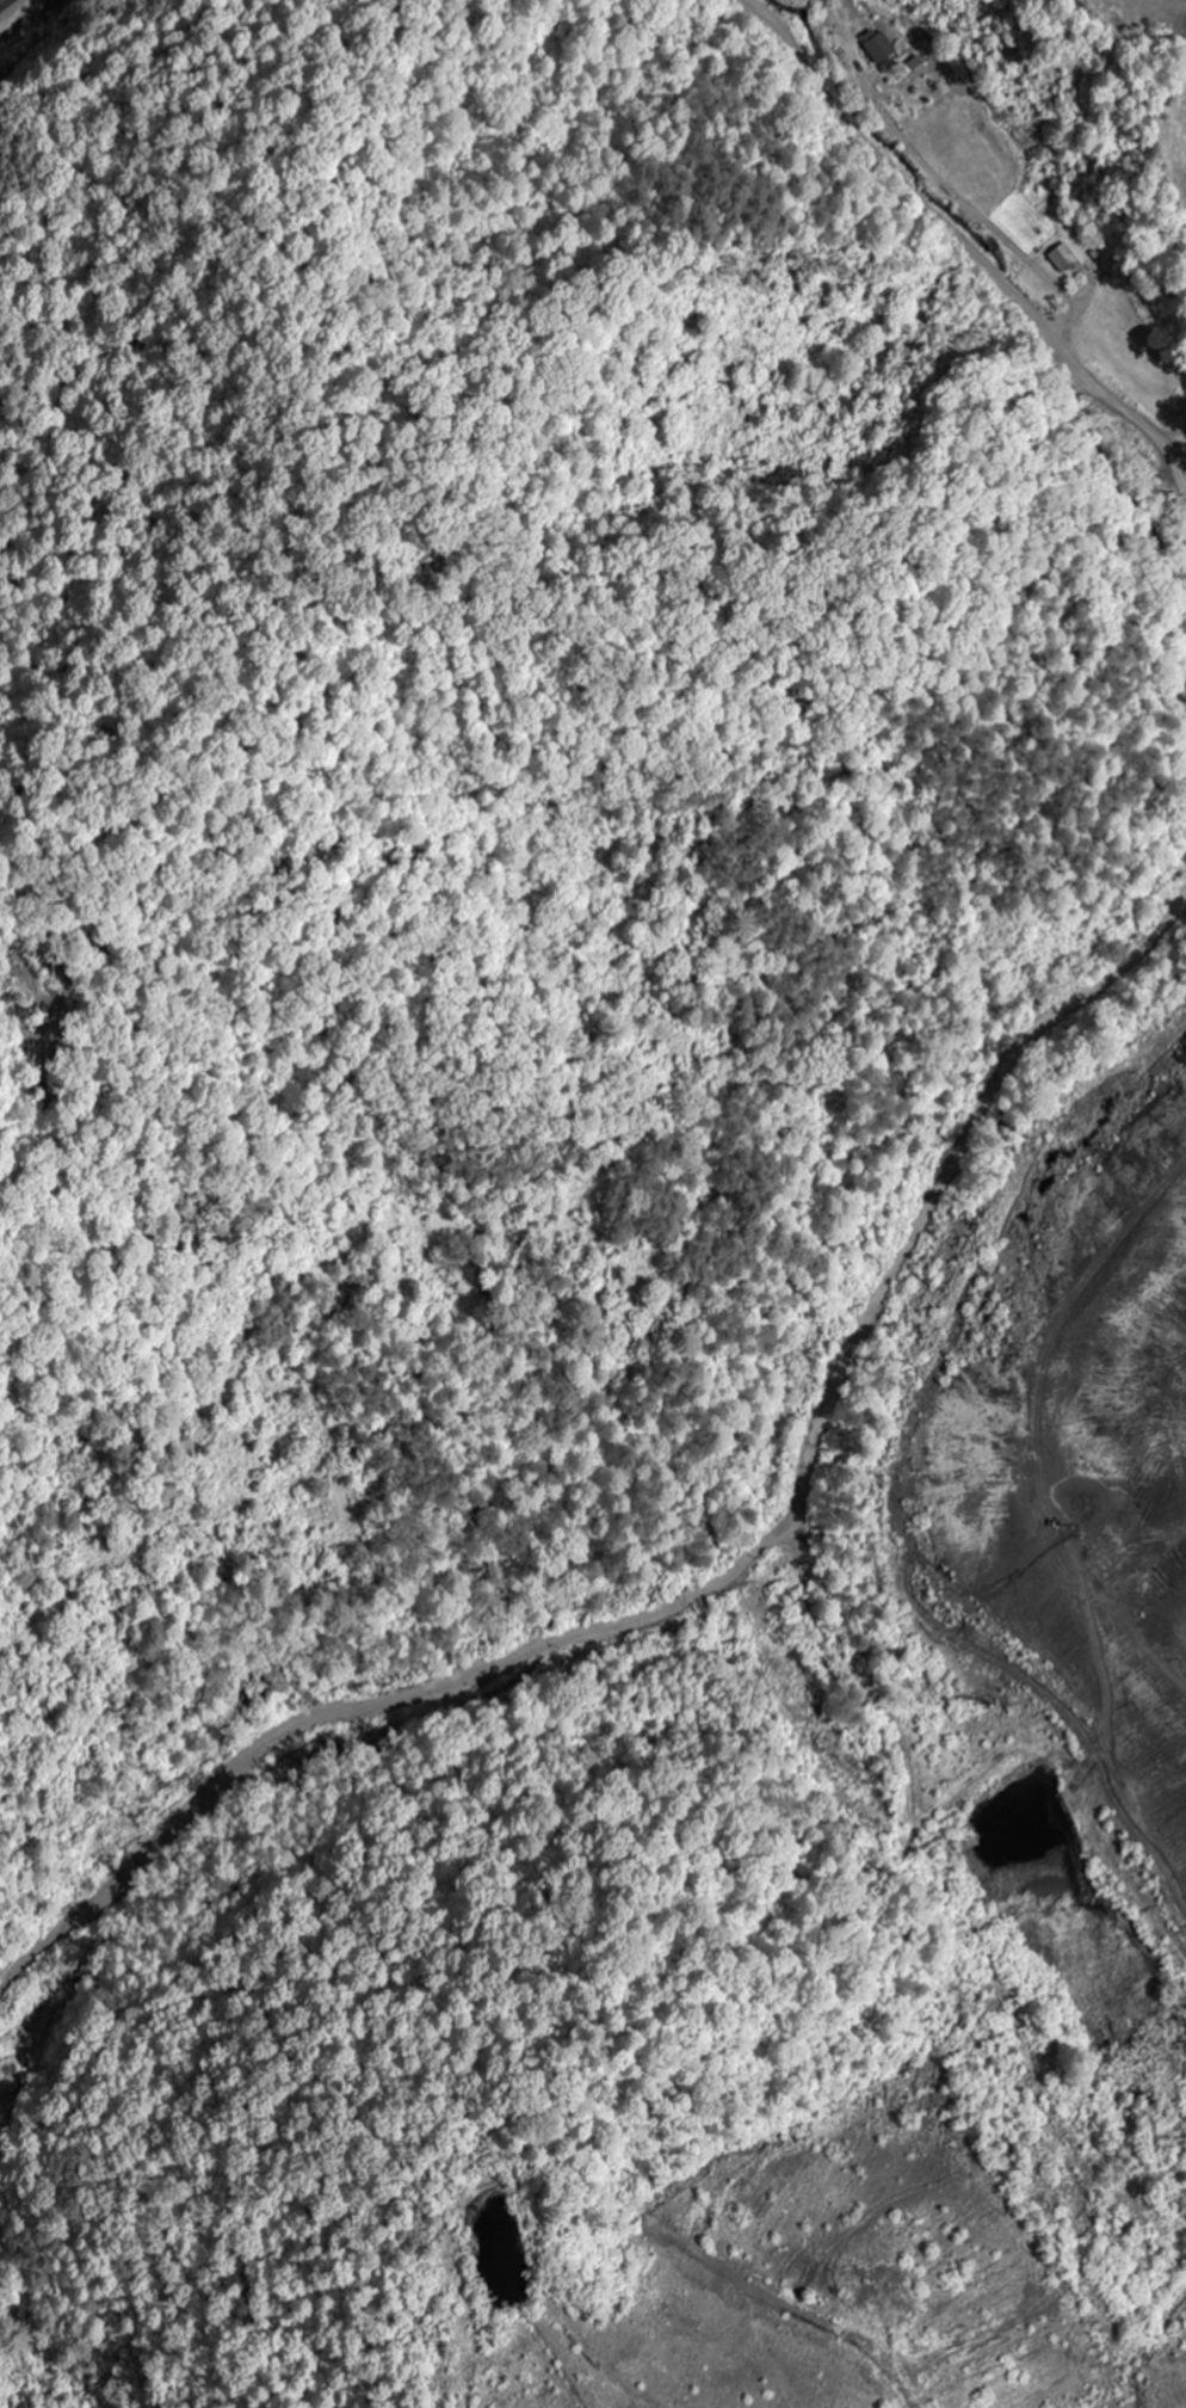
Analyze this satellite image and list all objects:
building: (879, 45)
road: (965, 242)
building: (1064, 259)
road: (719, 1575)
building: (1149, 1726)

